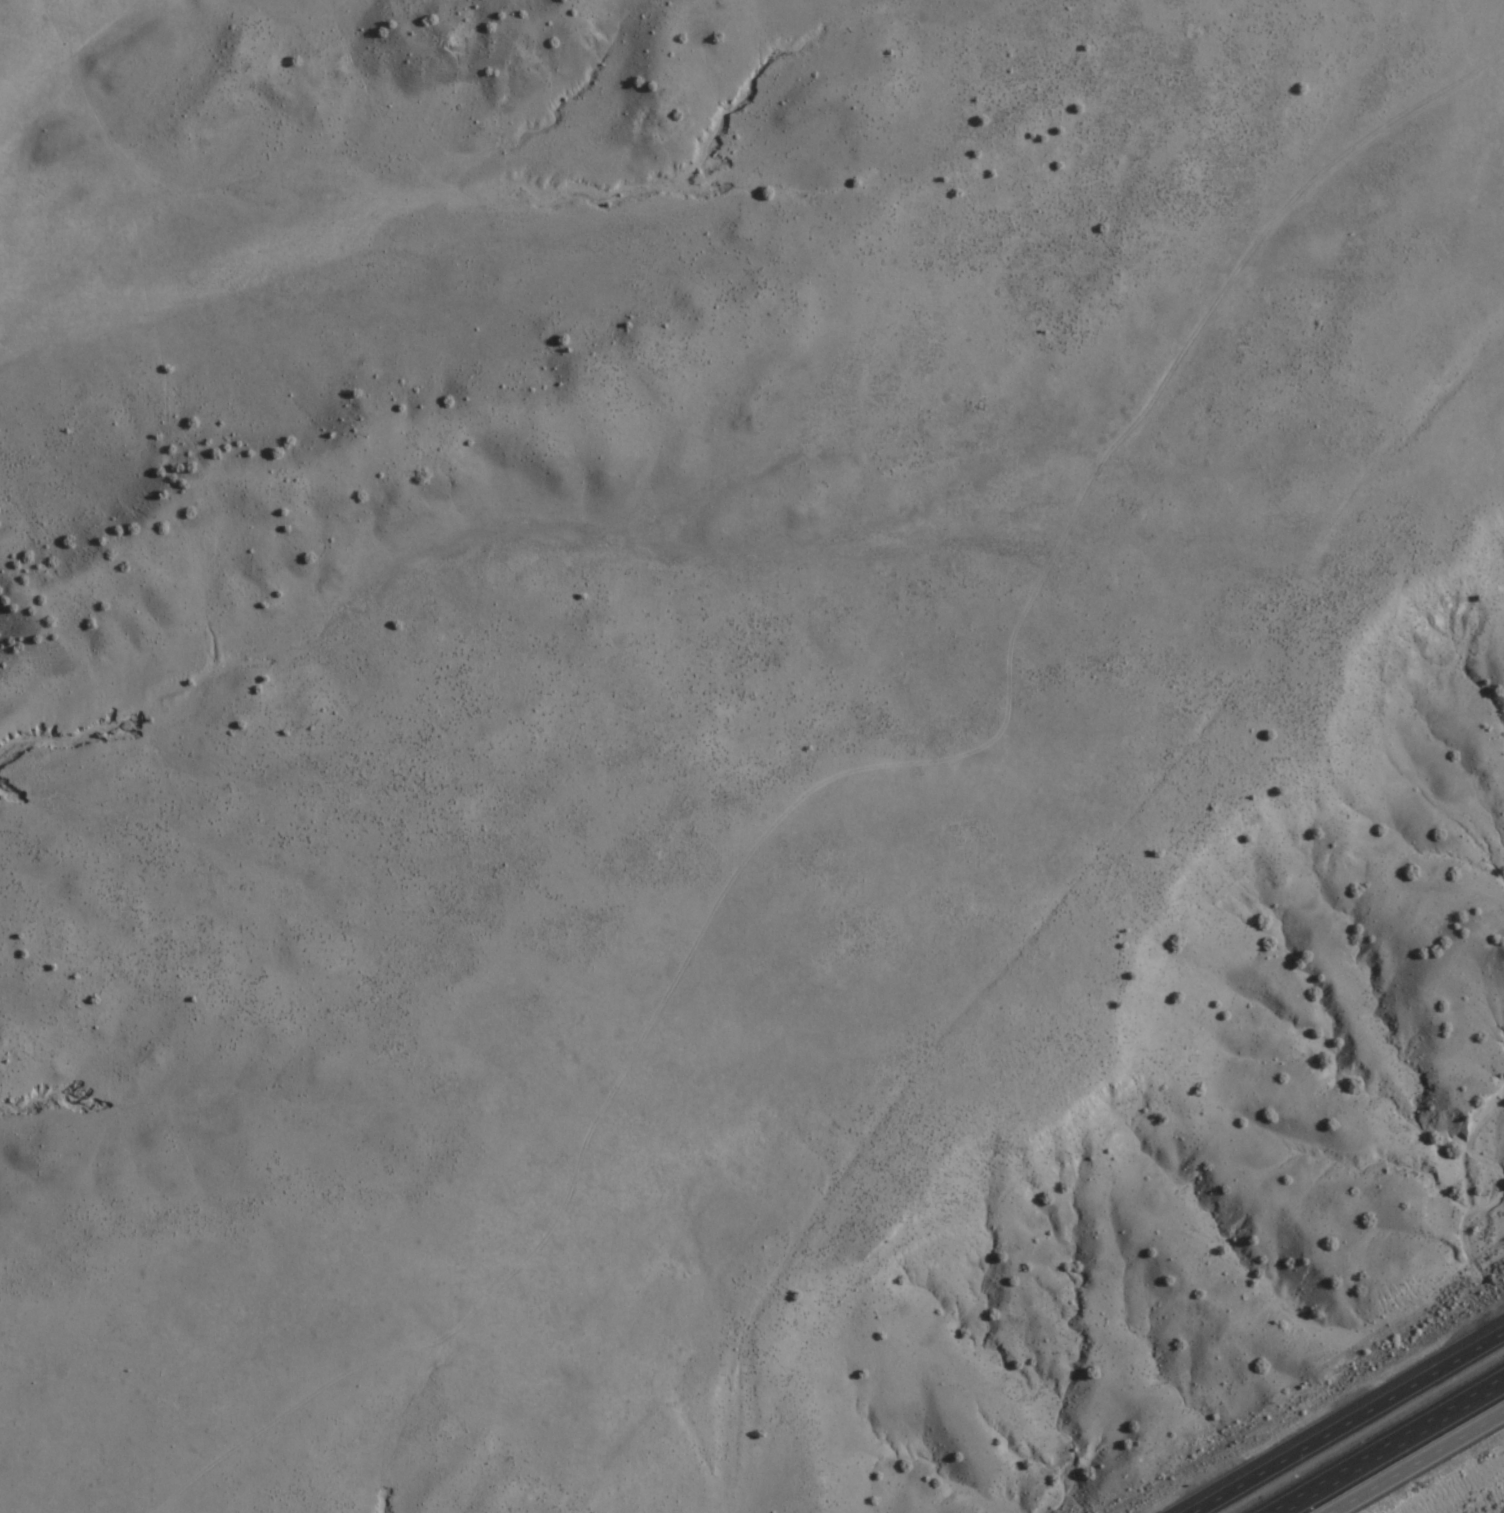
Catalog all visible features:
road: (1354, 1426)
road: (1393, 1448)
road: (1418, 1463)

